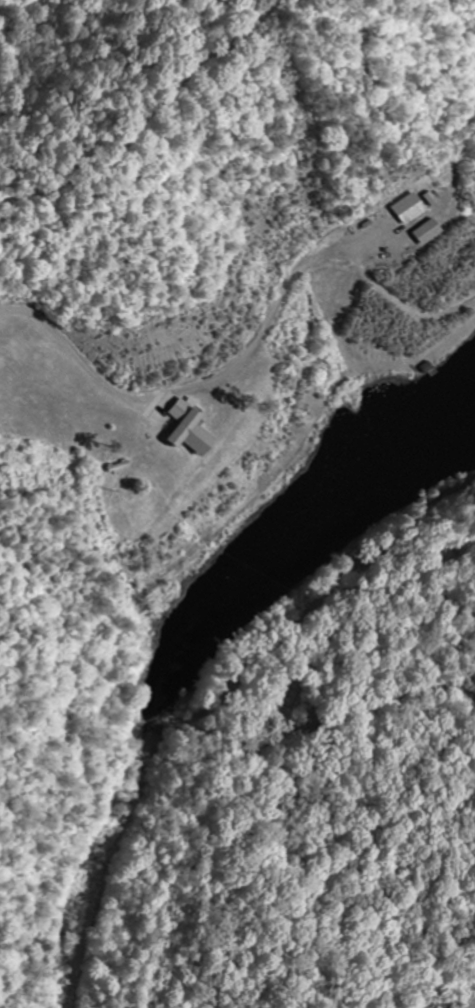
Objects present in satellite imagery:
building: (418, 205)
building: (431, 230)
building: (193, 427)

